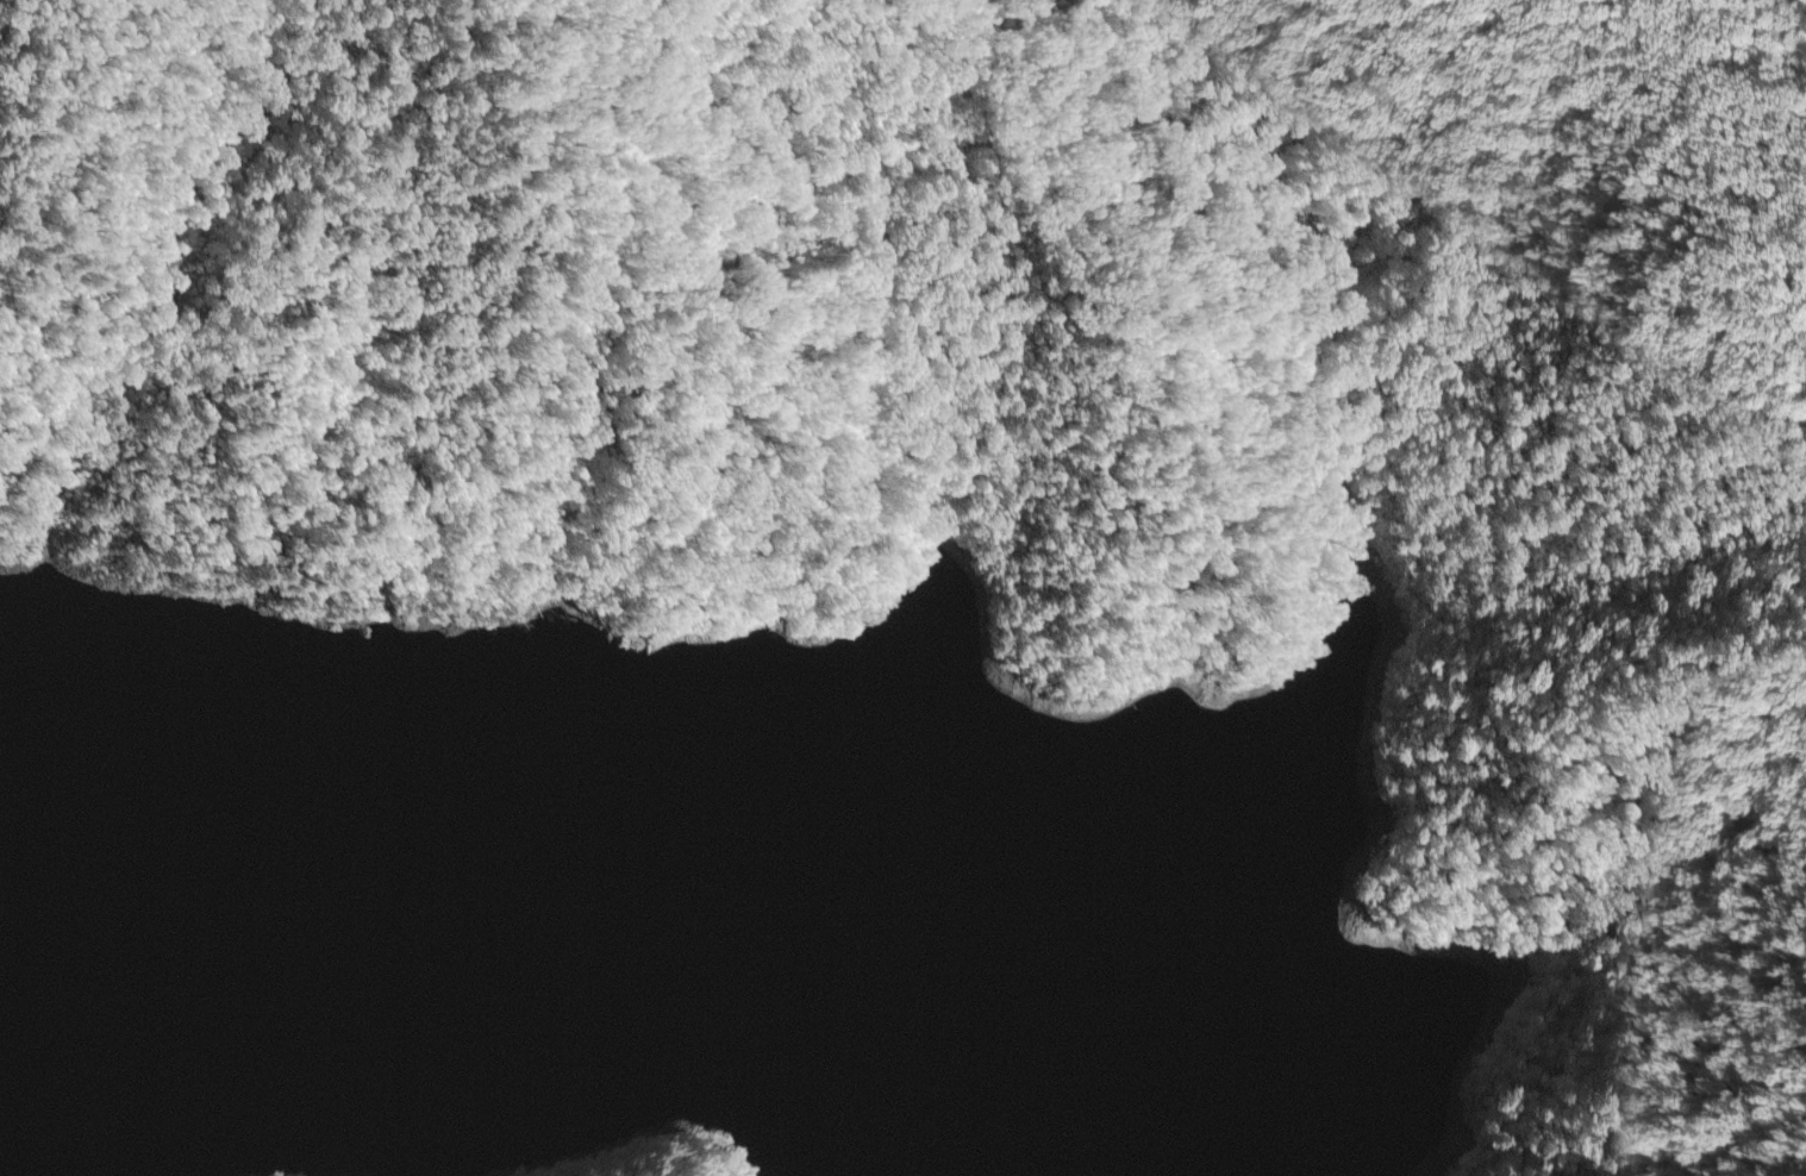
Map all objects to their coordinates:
river: (606, 888)

